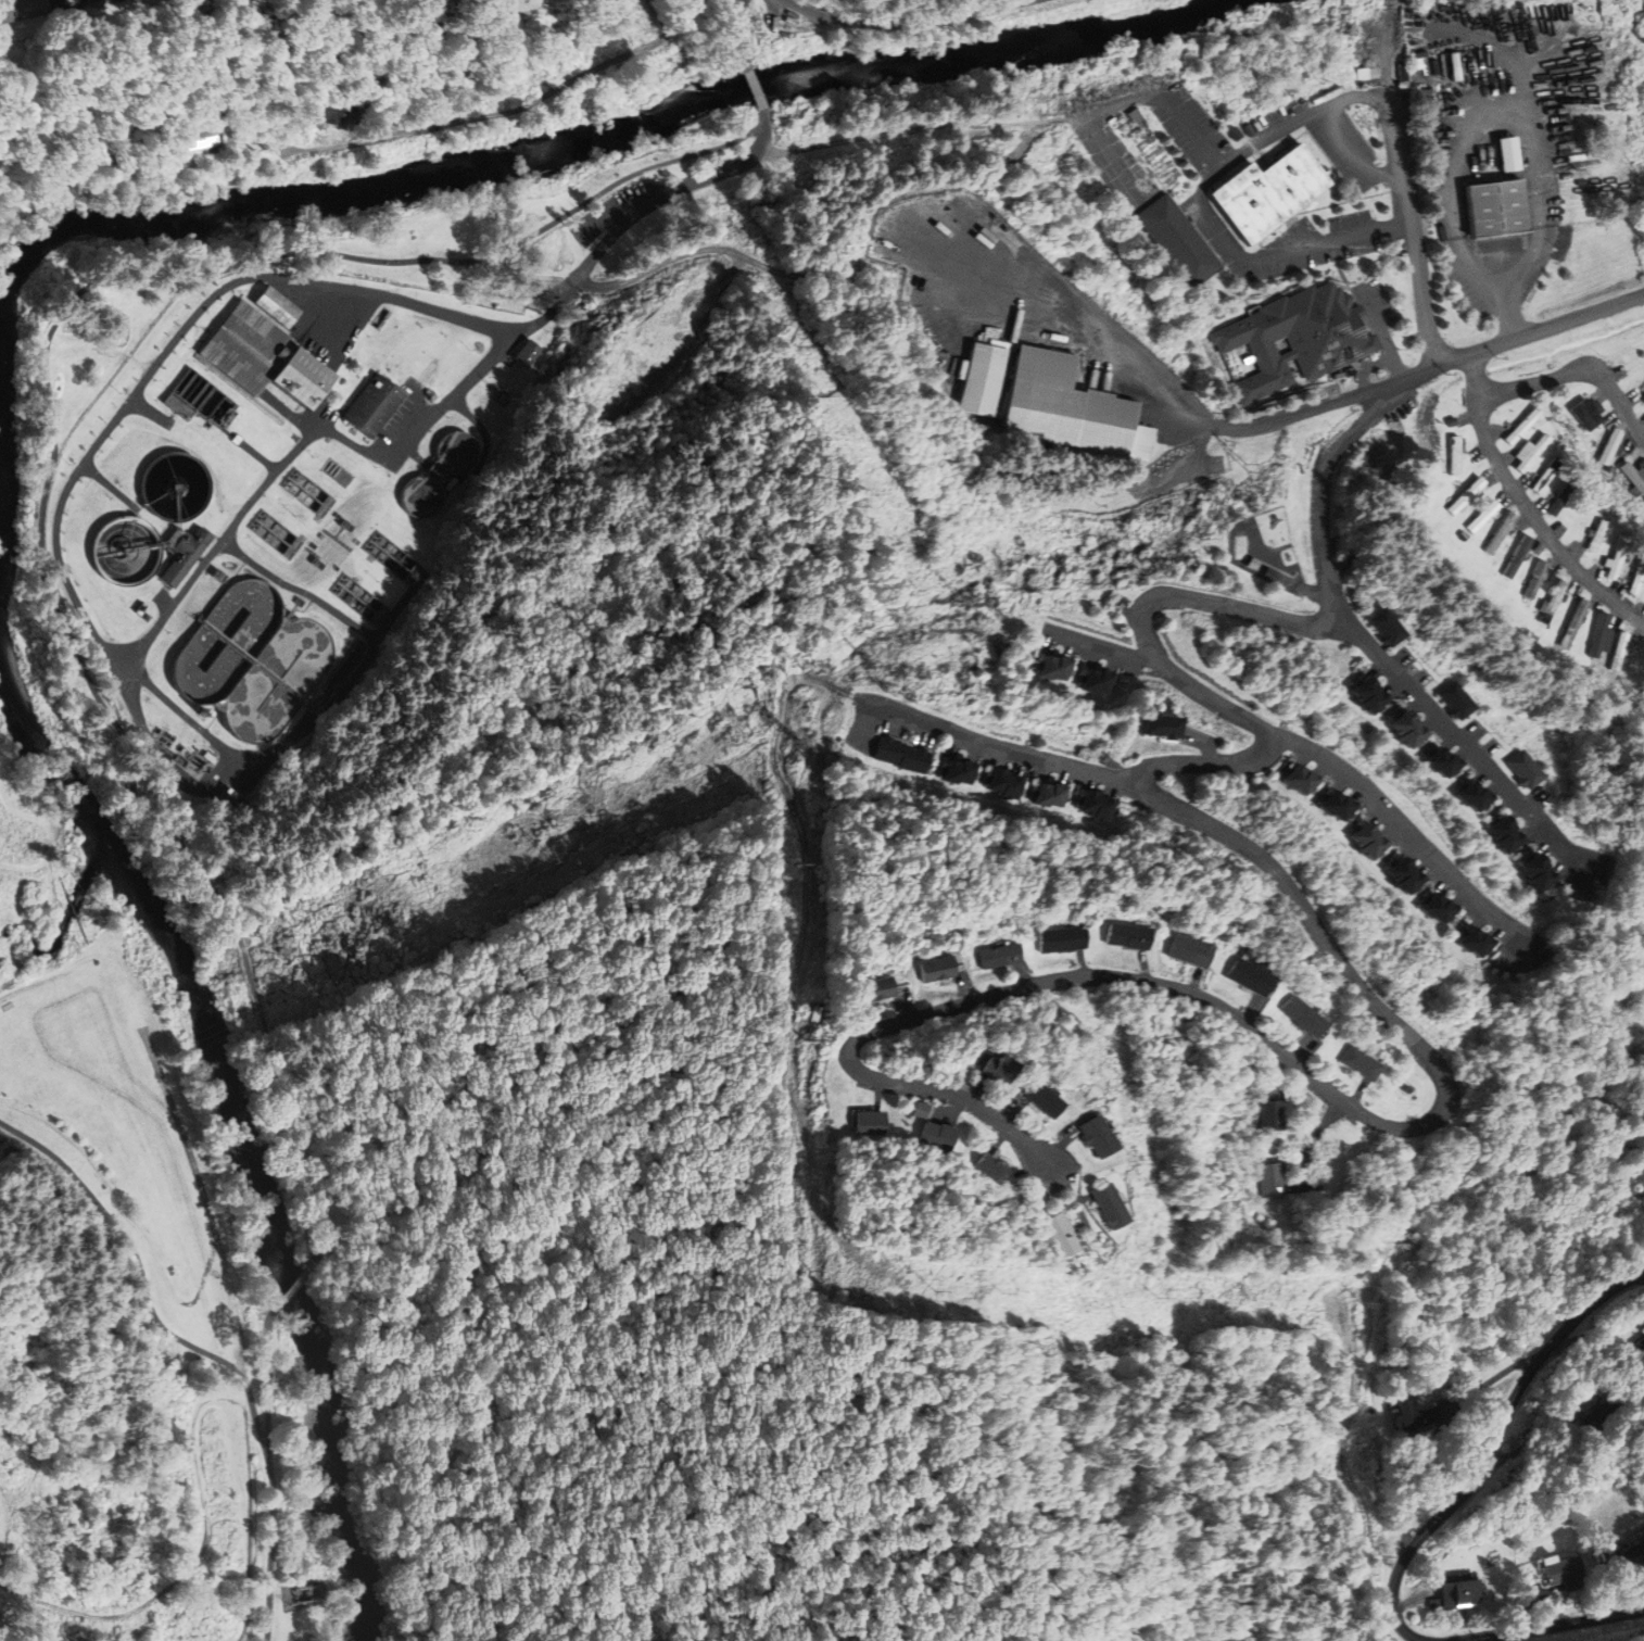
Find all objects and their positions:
building: (92, 1)
building: (102, 1)
building: (501, 8)
building: (20, 9)
road: (905, 23)
road: (743, 35)
road: (758, 89)
road: (1356, 96)
road: (1127, 97)
road: (541, 98)
building: (328, 109)
road: (1482, 129)
river: (585, 134)
road: (1401, 137)
building: (199, 138)
road: (337, 147)
road: (1356, 154)
building: (1269, 192)
building: (1497, 209)
parking lot: (617, 214)
road: (1227, 238)
building: (451, 241)
building: (1179, 241)
road: (1335, 251)
building: (367, 270)
road: (1418, 270)
road: (798, 276)
road: (1344, 279)
road: (332, 287)
building: (276, 306)
road: (1075, 327)
road: (1543, 330)
road: (1381, 333)
building: (1298, 338)
building: (528, 353)
building: (262, 358)
road: (1576, 374)
building: (983, 377)
building: (1643, 399)
building: (375, 404)
road: (1326, 404)
building: (1072, 407)
building: (1584, 414)
road: (291, 415)
road: (1172, 421)
building: (1451, 421)
building: (1517, 429)
road: (302, 442)
building: (1609, 447)
road: (53, 452)
building: (1452, 455)
building: (1526, 458)
power tower: (1245, 467)
road: (1187, 474)
building: (1542, 477)
building: (437, 478)
building: (1632, 478)
building: (1560, 494)
building: (1463, 495)
wastewater plant: (275, 503)
road: (1527, 508)
power tower: (1240, 514)
building: (1481, 517)
building: (1498, 533)
building: (1462, 535)
building: (1595, 535)
building: (130, 552)
building: (185, 553)
building: (1516, 556)
building: (1254, 563)
building: (1611, 565)
building: (1270, 572)
building: (1534, 580)
building: (1633, 582)
road: (1204, 599)
building: (1552, 602)
road: (394, 615)
building: (1571, 623)
road: (925, 624)
building: (1388, 627)
building: (1596, 634)
road: (1104, 644)
building: (1617, 649)
power tower: (873, 657)
building: (1049, 667)
building: (1063, 668)
building: (1093, 680)
building: (1106, 682)
power tower: (886, 686)
building: (1367, 689)
building: (1456, 699)
building: (1376, 702)
road: (177, 709)
building: (200, 712)
silo: (200, 712)
road: (320, 720)
building: (1406, 722)
building: (1164, 725)
building: (1415, 735)
road: (1463, 741)
road: (994, 747)
park: (520, 749)
building: (890, 750)
building: (1440, 758)
building: (915, 759)
building: (1451, 766)
building: (1526, 769)
building: (953, 771)
building: (966, 772)
building: (1295, 775)
building: (998, 780)
building: (1307, 783)
building: (1013, 786)
building: (1471, 792)
building: (1045, 794)
building: (1059, 795)
river: (76, 799)
building: (1482, 800)
building: (1333, 801)
building: (1091, 803)
building: (1345, 808)
building: (1105, 809)
power tower: (552, 816)
building: (1505, 828)
road: (1407, 829)
building: (1366, 834)
building: (1513, 841)
building: (1375, 847)
power tower: (798, 862)
road: (807, 864)
building: (1536, 864)
road: (531, 867)
building: (1402, 869)
building: (1544, 879)
building: (1411, 882)
power tower: (384, 902)
building: (1436, 905)
building: (1447, 911)
building: (1128, 935)
building: (1472, 938)
building: (1062, 939)
building: (1484, 946)
building: (1239, 949)
building: (1190, 950)
road: (307, 952)
building: (999, 956)
road: (1082, 962)
road: (1145, 963)
building: (936, 969)
road: (1024, 973)
building: (1251, 976)
road: (1198, 980)
road: (964, 985)
building: (874, 989)
road: (902, 1003)
road: (1253, 1009)
building: (815, 1013)
building: (1304, 1015)
road: (1260, 1033)
road: (1301, 1048)
building: (1361, 1062)
building: (999, 1070)
road: (1272, 1073)
road: (969, 1085)
road: (1358, 1091)
road: (878, 1096)
road: (178, 1098)
building: (1045, 1099)
building: (922, 1110)
road: (953, 1110)
road: (1015, 1110)
building: (1270, 1115)
building: (870, 1123)
building: (938, 1136)
building: (1098, 1136)
road: (999, 1140)
road: (1061, 1143)
road: (1310, 1146)
road: (806, 1160)
building: (990, 1166)
building: (1273, 1182)
road: (1084, 1197)
road: (1074, 1200)
building: (1108, 1205)
building: (1062, 1235)
power tower: (810, 1272)
road: (144, 1280)
road: (295, 1288)
river: (280, 1289)
power tower: (934, 1291)
park: (128, 1293)
power tower: (1364, 1303)
road: (1595, 1331)
building: (1641, 1347)
road: (1495, 1378)
road: (246, 1404)
building: (1602, 1416)
building: (1411, 1417)
road: (1493, 1447)
road: (194, 1454)
road: (1343, 1454)
road: (270, 1476)
power tower: (1356, 1511)
road: (4, 1529)
power tower: (1378, 1556)
building: (1556, 1574)
road: (1620, 1586)
building: (1456, 1595)
road: (1411, 1599)
road: (1531, 1606)
road: (1554, 1626)

